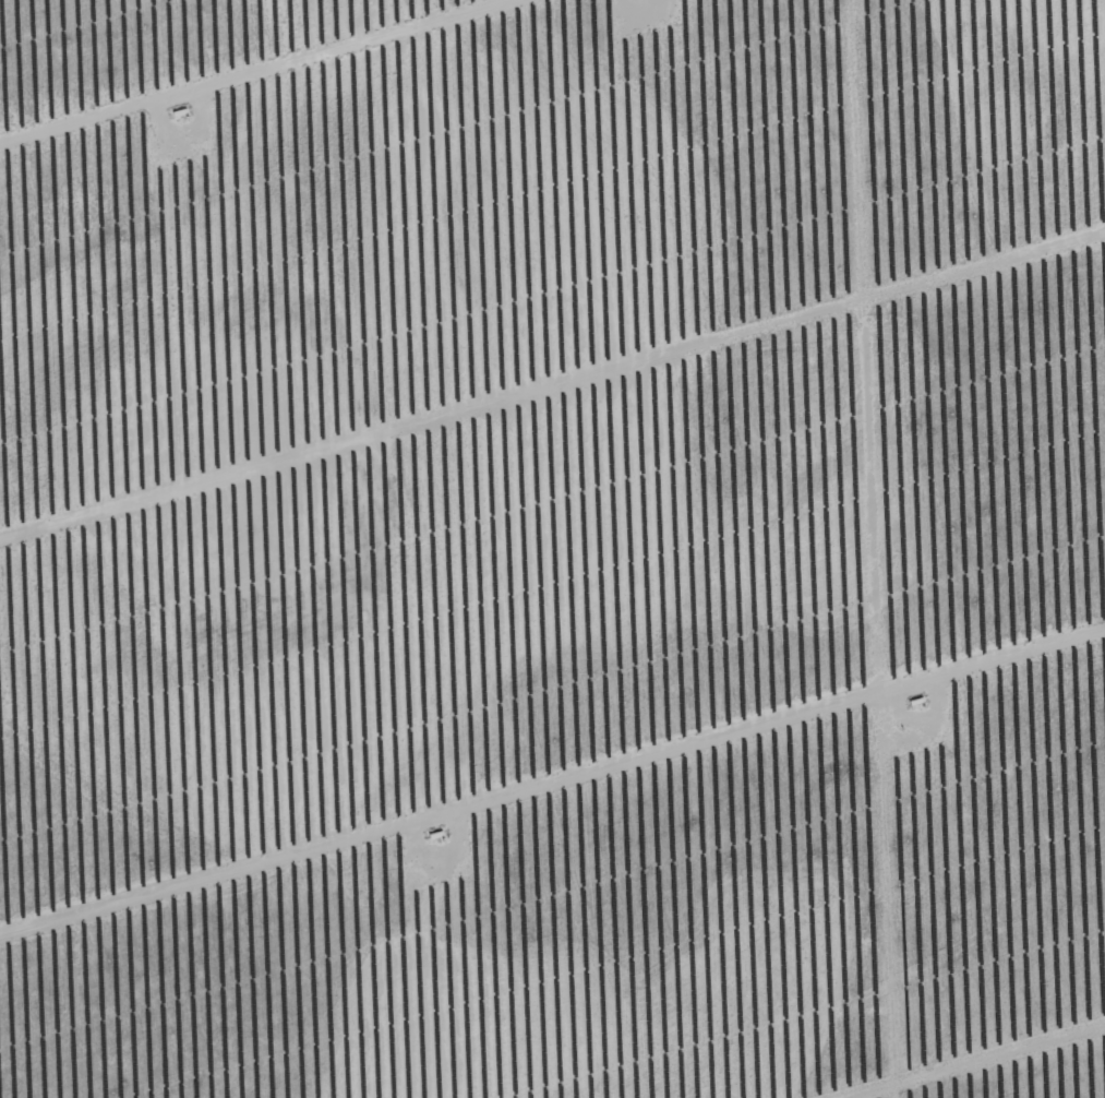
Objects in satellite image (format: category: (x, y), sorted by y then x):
solar farm: (552, 549)

